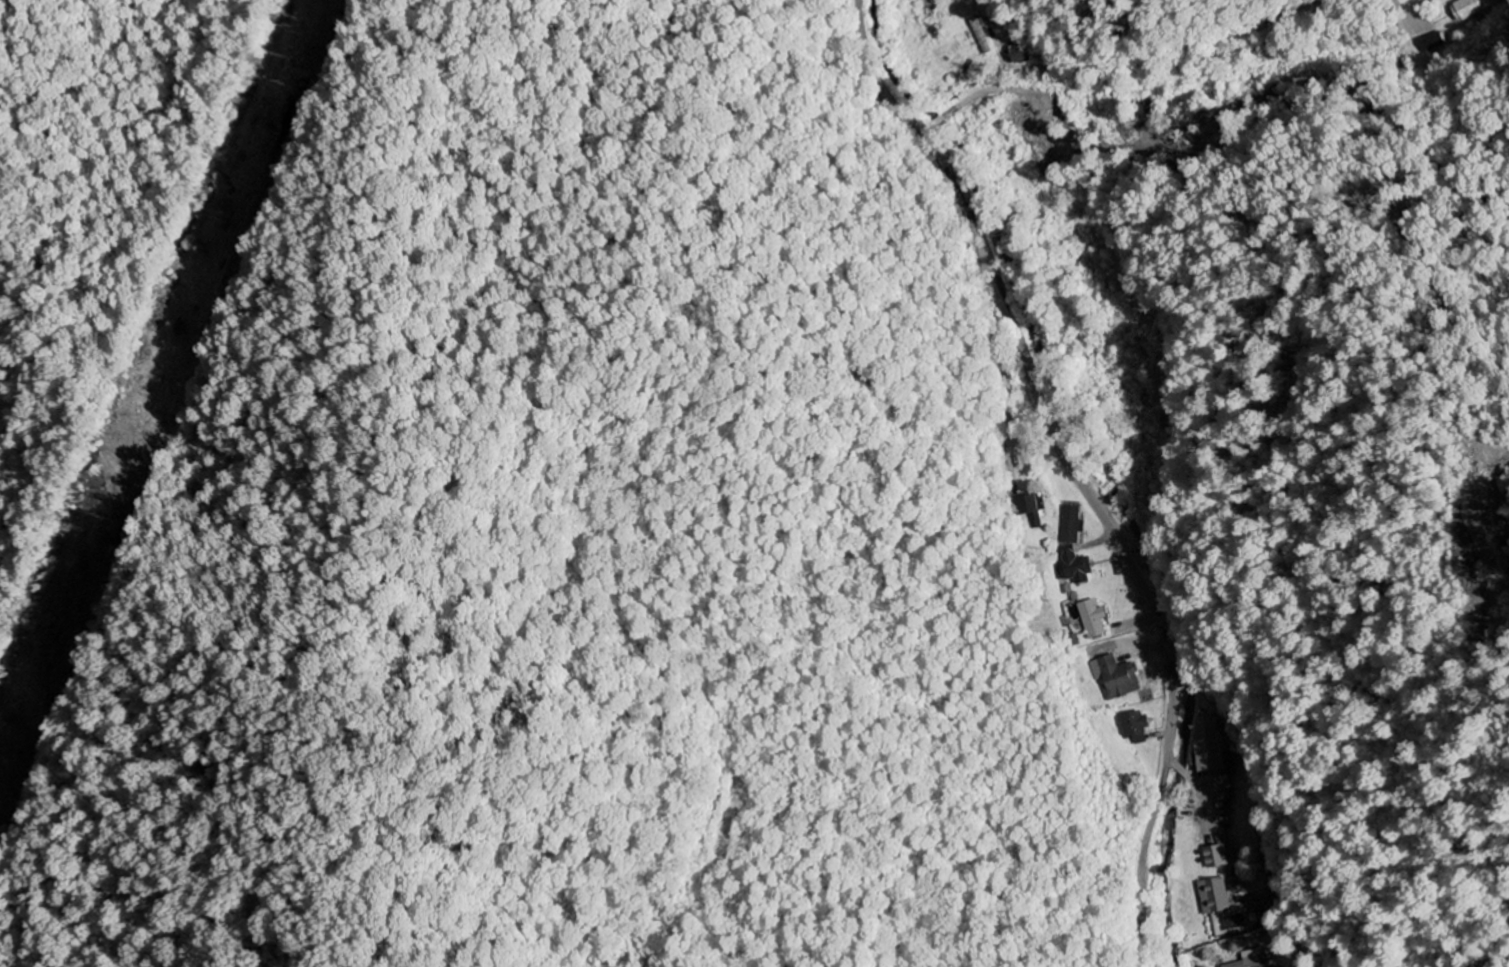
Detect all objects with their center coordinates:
building: (1470, 9)
building: (1021, 55)
road: (1072, 471)
building: (1031, 513)
building: (1072, 526)
building: (1074, 568)
building: (1094, 620)
building: (1117, 678)
building: (1136, 727)
building: (1211, 746)
building: (1218, 858)
building: (1217, 897)
building: (1254, 959)

